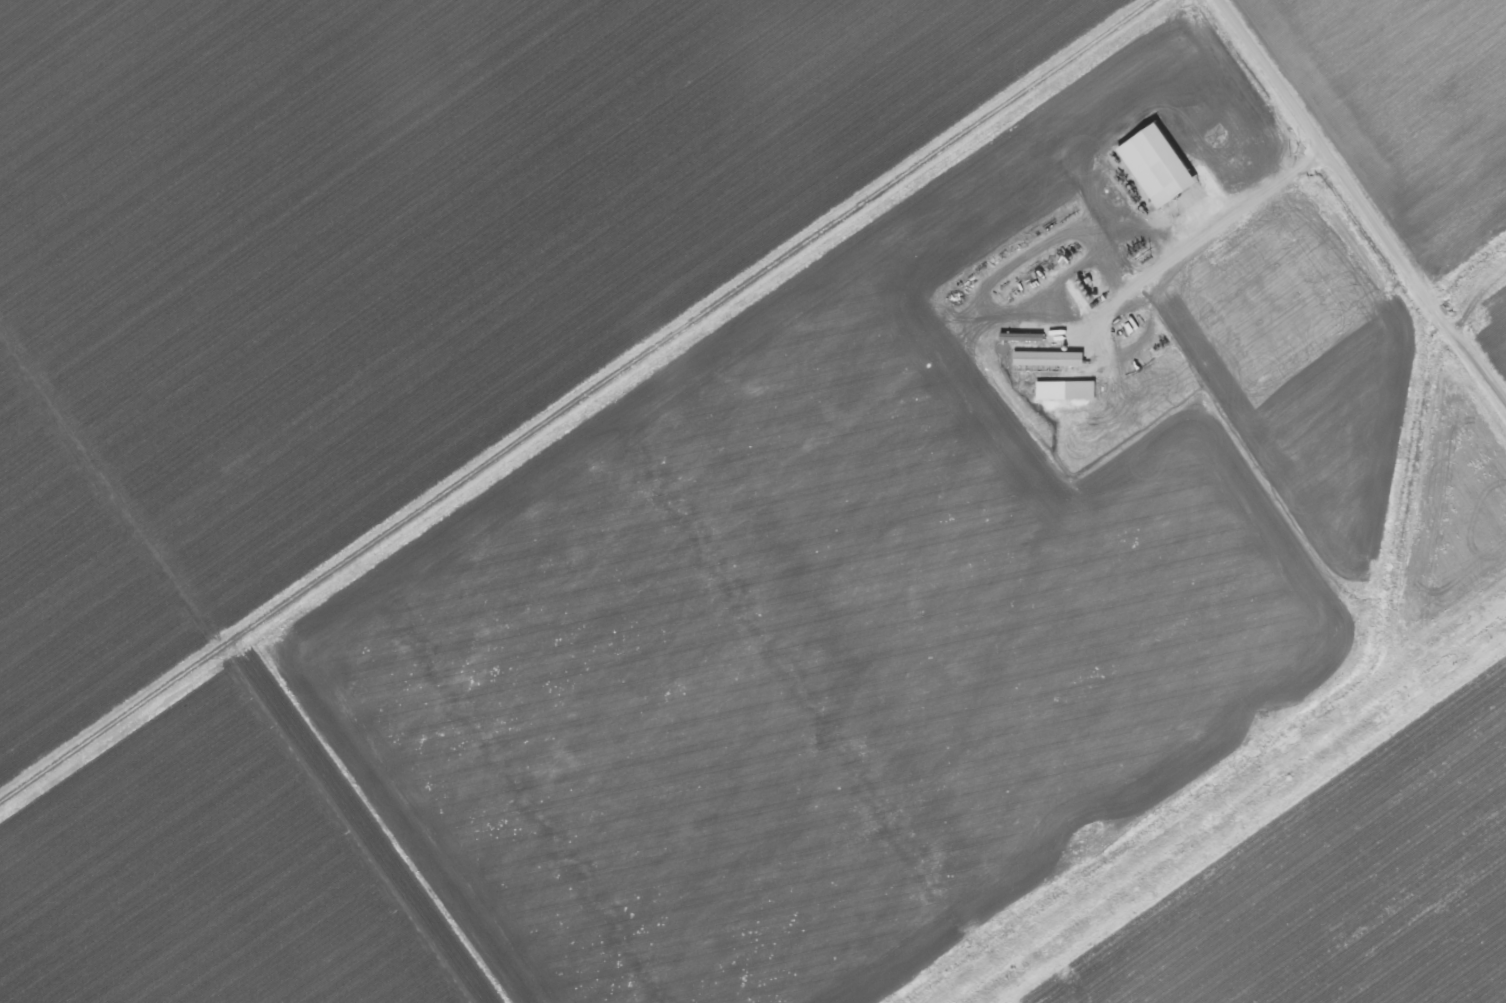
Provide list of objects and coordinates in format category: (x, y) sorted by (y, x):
building: (1154, 167)
road: (1363, 200)
road: (1475, 297)

